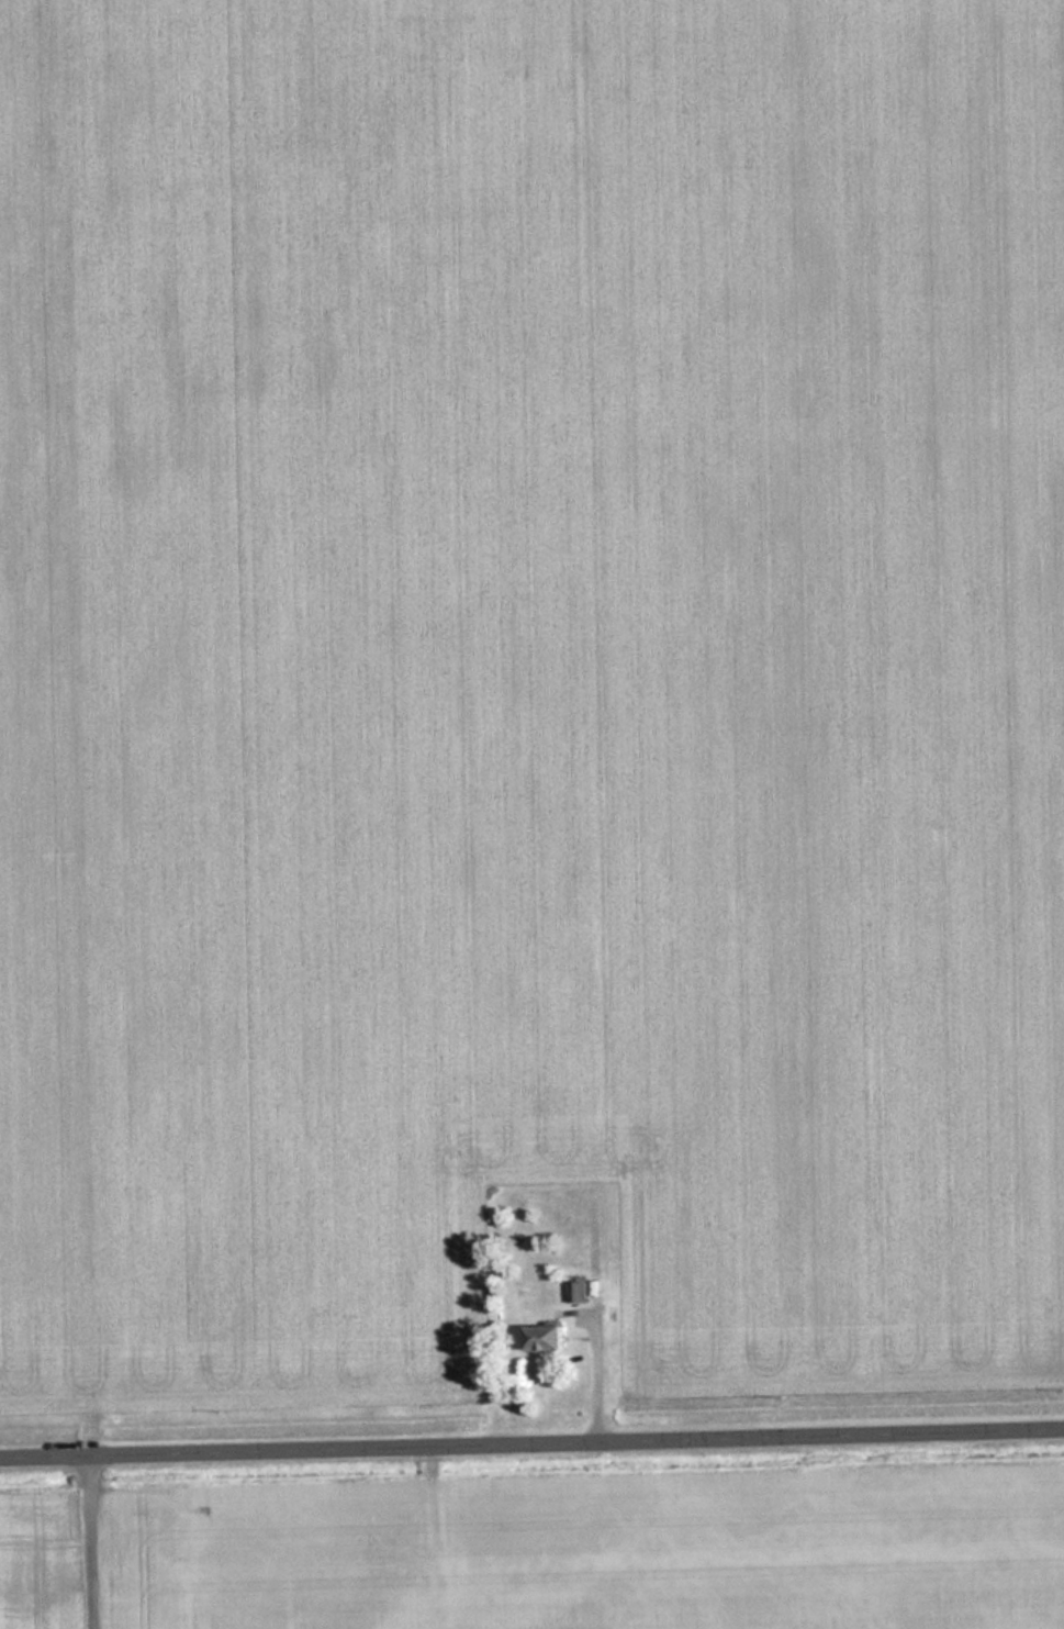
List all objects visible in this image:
building: (578, 1291)
building: (549, 1338)
road: (531, 1440)
road: (85, 1540)

